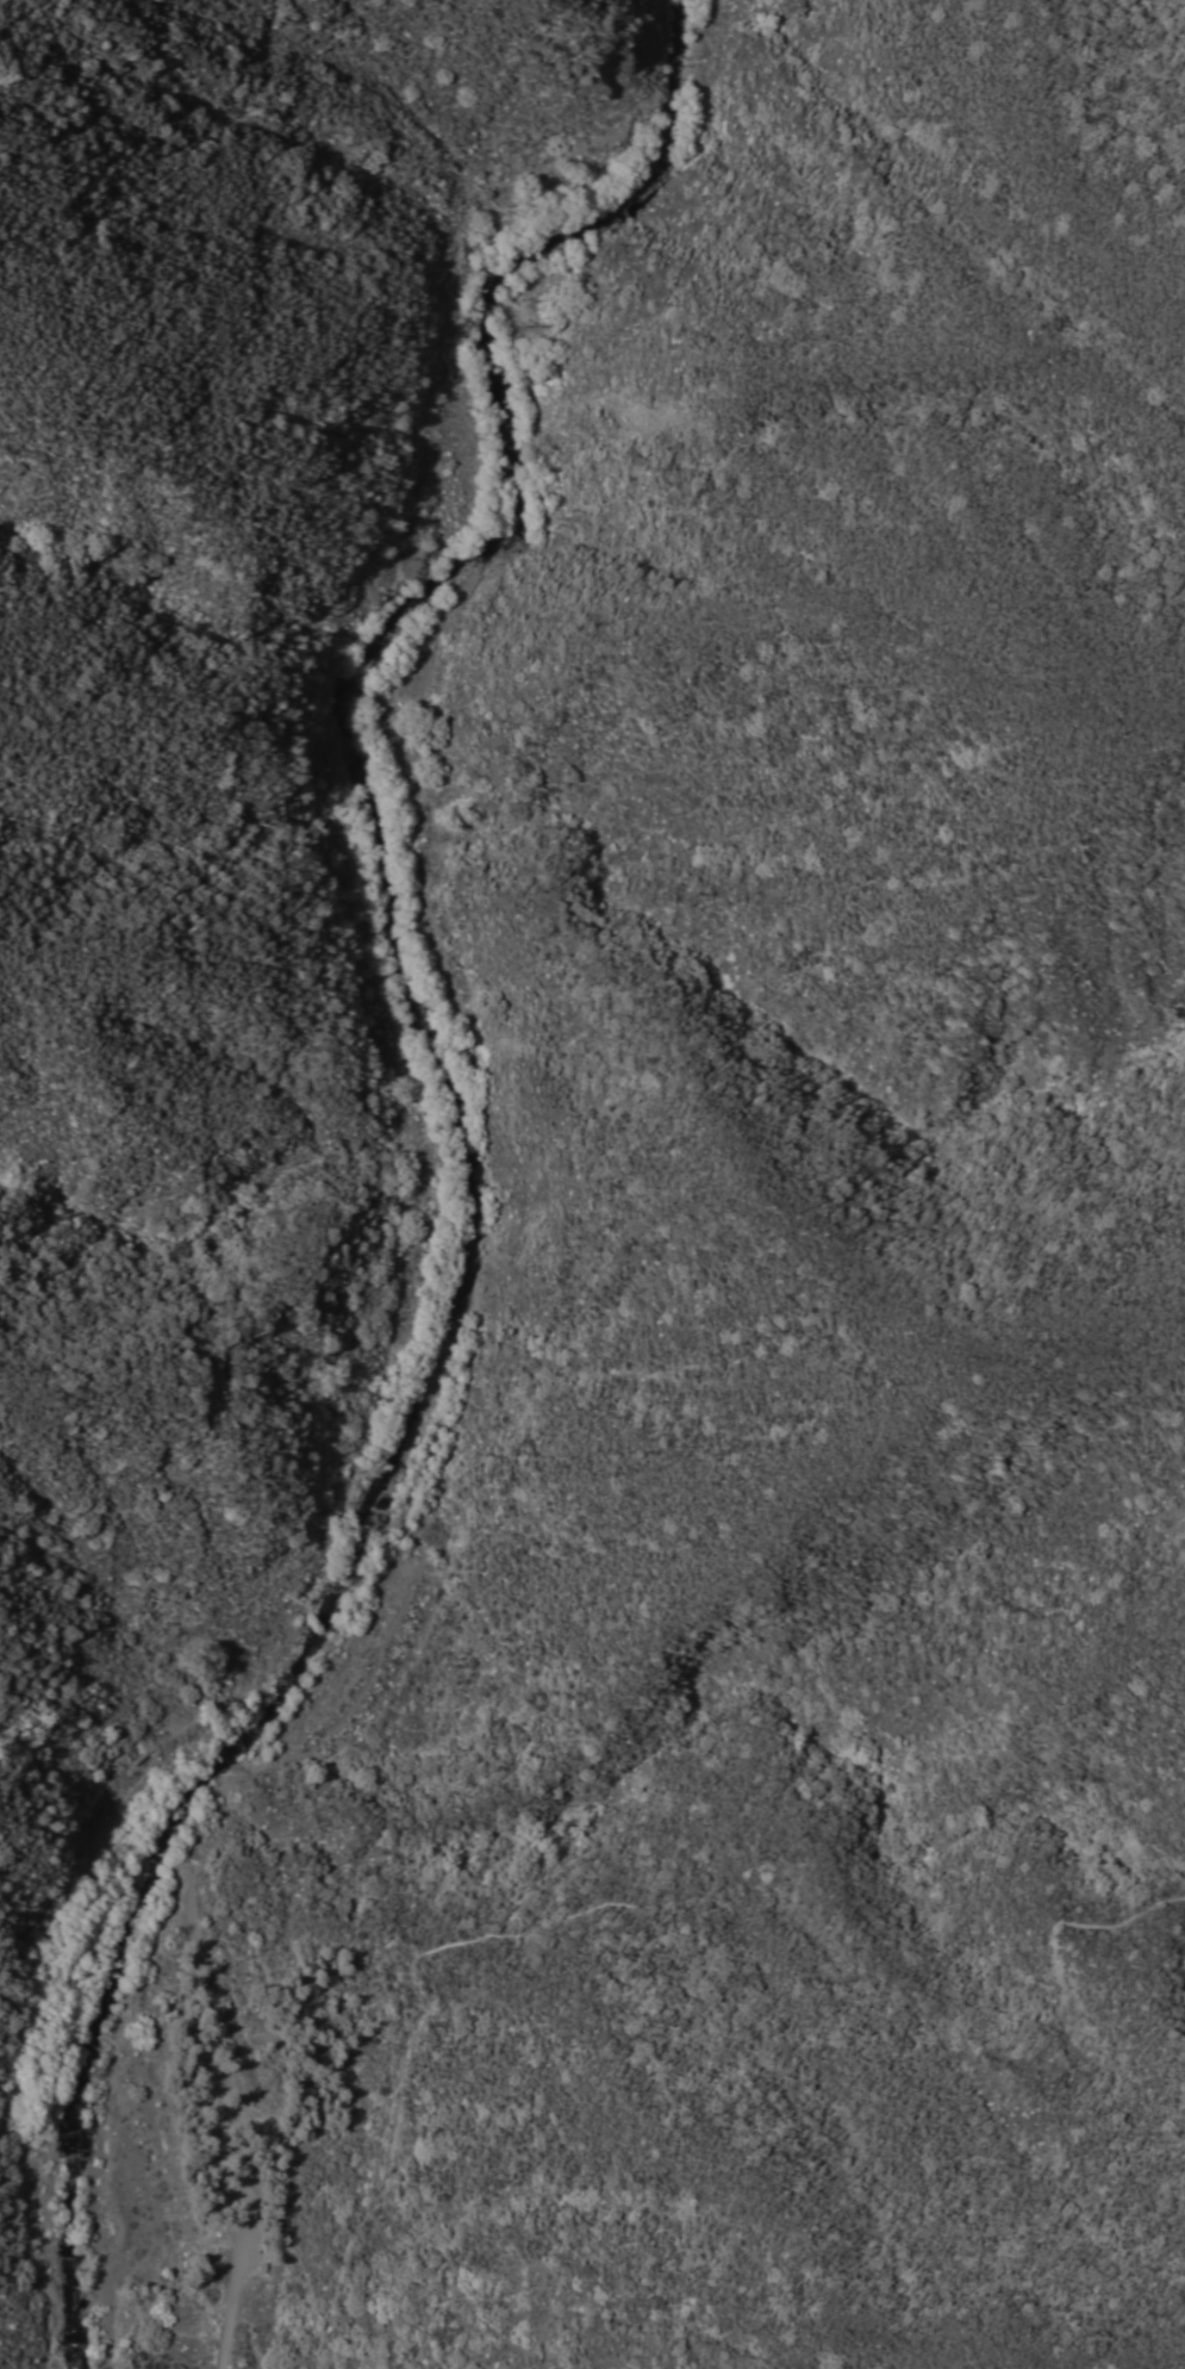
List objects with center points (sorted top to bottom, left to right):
road: (436, 913)
river: (457, 1138)
road: (700, 1902)
road: (237, 2119)

